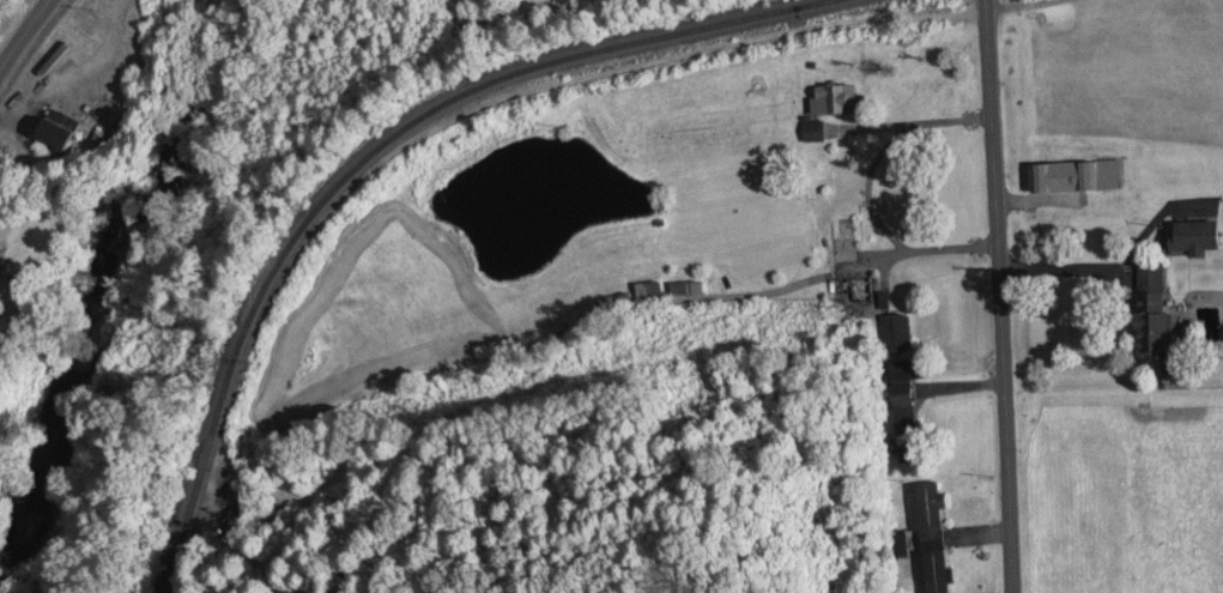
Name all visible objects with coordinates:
road: (24, 34)
building: (836, 102)
building: (60, 138)
railway: (379, 150)
building: (1077, 177)
building: (843, 196)
building: (5, 237)
building: (1198, 238)
building: (853, 291)
road: (999, 296)
building: (612, 305)
building: (896, 334)
building: (1155, 334)
building: (904, 420)
building: (930, 538)

